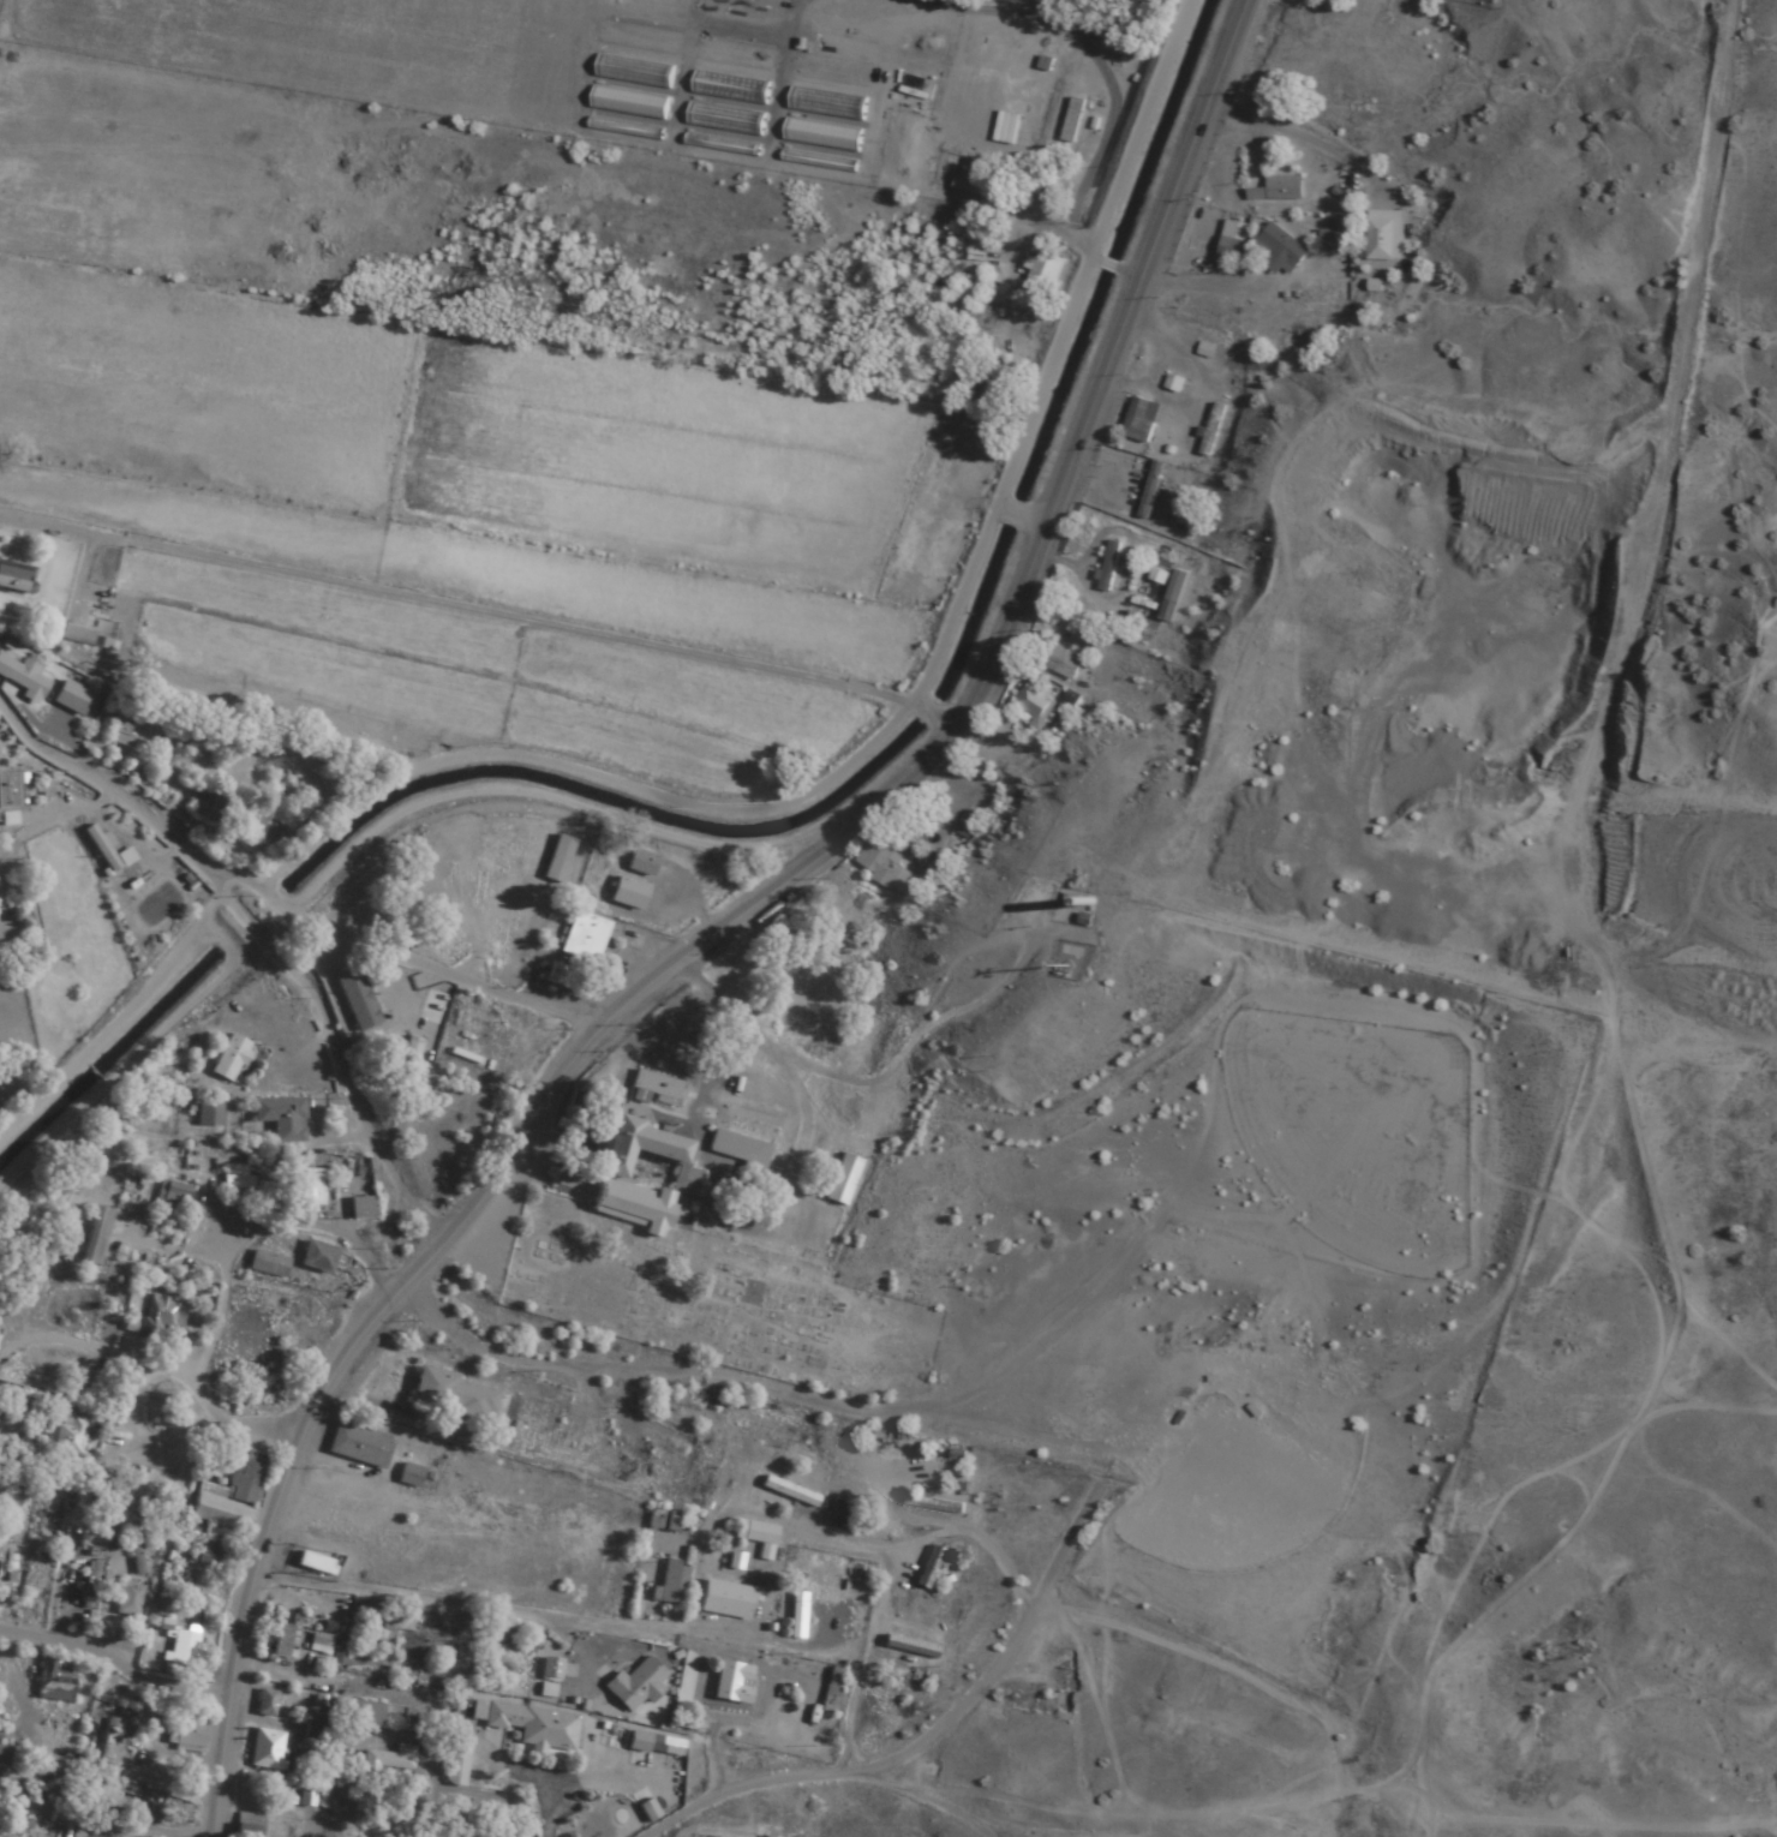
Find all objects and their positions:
building: (1120, 38)
road: (885, 180)
building: (977, 190)
building: (1278, 190)
building: (1333, 235)
building: (1384, 235)
building: (1232, 240)
building: (1282, 245)
road: (1106, 264)
building: (1041, 274)
road: (1127, 274)
building: (1173, 384)
building: (1139, 420)
building: (1211, 430)
building: (1150, 490)
road: (1012, 509)
road: (1036, 520)
building: (1107, 563)
building: (16, 578)
road: (451, 602)
building: (1066, 665)
building: (23, 680)
building: (68, 699)
building: (1033, 704)
road: (921, 712)
road: (952, 722)
building: (119, 731)
building: (7, 791)
building: (208, 804)
building: (268, 826)
building: (103, 851)
building: (557, 860)
building: (639, 863)
building: (887, 863)
building: (367, 878)
building: (627, 893)
road: (279, 904)
road: (731, 926)
building: (584, 938)
building: (1067, 952)
building: (557, 975)
building: (354, 1001)
road: (328, 1052)
building: (228, 1060)
road: (895, 1067)
building: (656, 1085)
building: (207, 1115)
building: (279, 1119)
building: (738, 1149)
building: (249, 1177)
building: (644, 1178)
building: (305, 1189)
building: (170, 1195)
building: (360, 1209)
building: (95, 1238)
road: (251, 1256)
building: (316, 1259)
building: (267, 1265)
park: (718, 1300)
building: (161, 1314)
building: (449, 1394)
building: (64, 1434)
building: (22, 1446)
building: (359, 1446)
building: (408, 1476)
building: (789, 1492)
building: (228, 1496)
building: (934, 1504)
building: (662, 1520)
building: (754, 1532)
building: (209, 1554)
building: (735, 1561)
building: (315, 1563)
building: (928, 1568)
building: (672, 1584)
building: (88, 1585)
road: (537, 1593)
building: (127, 1599)
building: (725, 1599)
building: (797, 1615)
building: (393, 1632)
building: (319, 1640)
building: (281, 1641)
building: (183, 1647)
building: (910, 1647)
building: (337, 1658)
building: (550, 1669)
building: (52, 1682)
building: (731, 1682)
building: (635, 1686)
road: (112, 1691)
building: (832, 1691)
building: (265, 1704)
building: (355, 1712)
building: (528, 1725)
building: (313, 1733)
building: (189, 1735)
building: (654, 1745)
building: (268, 1751)
building: (1, 1760)
building: (457, 1760)
building: (383, 1764)
road: (915, 1770)
building: (60, 1772)
building: (306, 1794)
building: (96, 1796)
building: (361, 1802)
road: (107, 1814)
building: (245, 1825)
building: (764, 1836)

